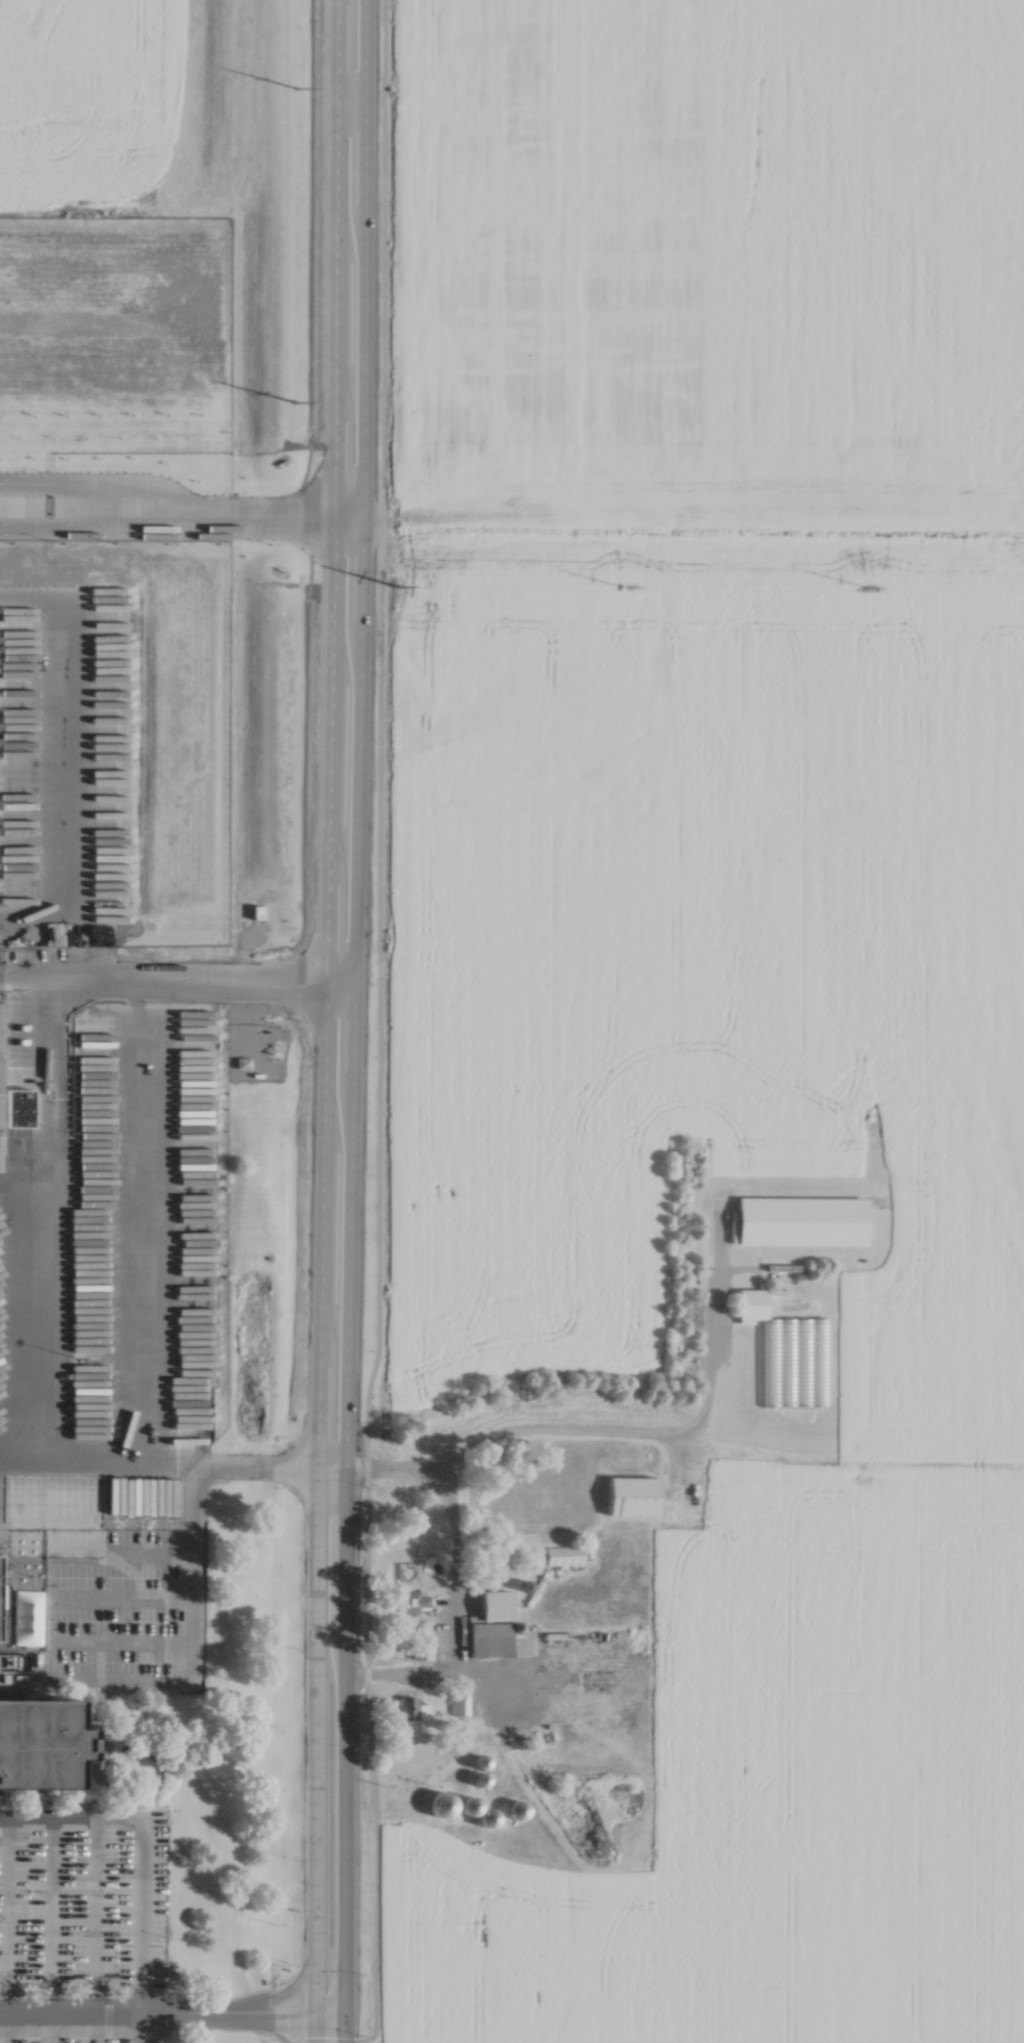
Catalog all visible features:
road: (331, 489)
road: (359, 490)
road: (165, 530)
street lamp: (297, 571)
power tower: (396, 584)
building: (254, 911)
crop: (723, 941)
road: (175, 976)
street lamp: (296, 1014)
road: (376, 1060)
building: (16, 1103)
road: (345, 1225)
building: (785, 1352)
road: (676, 1437)
road: (170, 1467)
street lamp: (372, 1483)
building: (631, 1492)
road: (312, 1510)
building: (561, 1552)
building: (0, 1563)
building: (410, 1598)
building: (496, 1625)
street lamp: (294, 1644)
building: (418, 1646)
road: (412, 1668)
building: (456, 1696)
building: (409, 1703)
building: (453, 1725)
building: (39, 1742)
road: (341, 1757)
street lamp: (360, 1757)
building: (487, 1810)
street lamp: (293, 1854)
street lamp: (287, 1965)
street lamp: (360, 1970)
traffic signals: (311, 1983)
road: (171, 2014)
traffic signals: (293, 2015)

